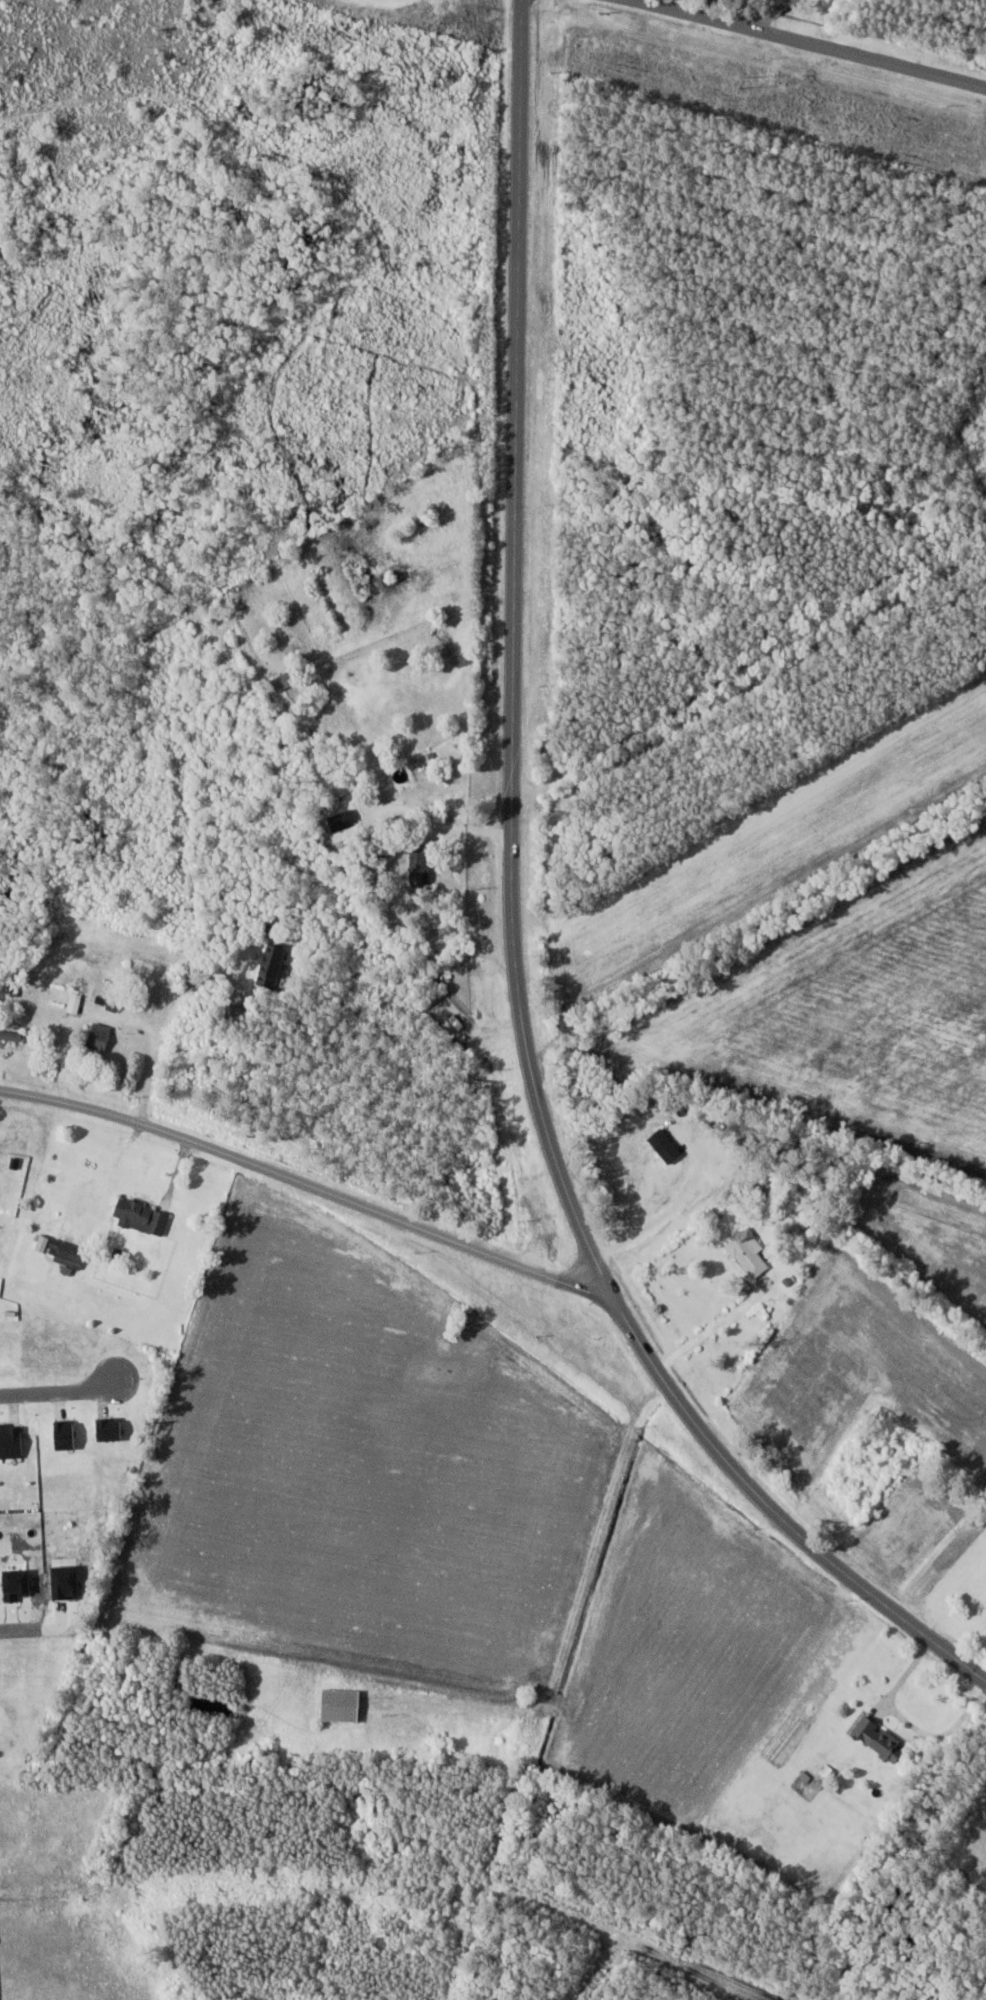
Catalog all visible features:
road: (774, 12)
park: (866, 18)
road: (813, 43)
power tower: (741, 81)
building: (285, 681)
building: (421, 870)
road: (511, 926)
building: (274, 966)
building: (108, 1002)
building: (76, 1005)
building: (457, 1022)
road: (166, 1026)
building: (11, 1036)
building: (101, 1037)
road: (306, 1184)
road: (666, 1214)
building: (141, 1217)
building: (749, 1252)
building: (66, 1254)
road: (712, 1328)
road: (59, 1391)
road: (20, 1629)
building: (343, 1704)
road: (906, 1721)
building: (881, 1739)
road: (4, 1892)

